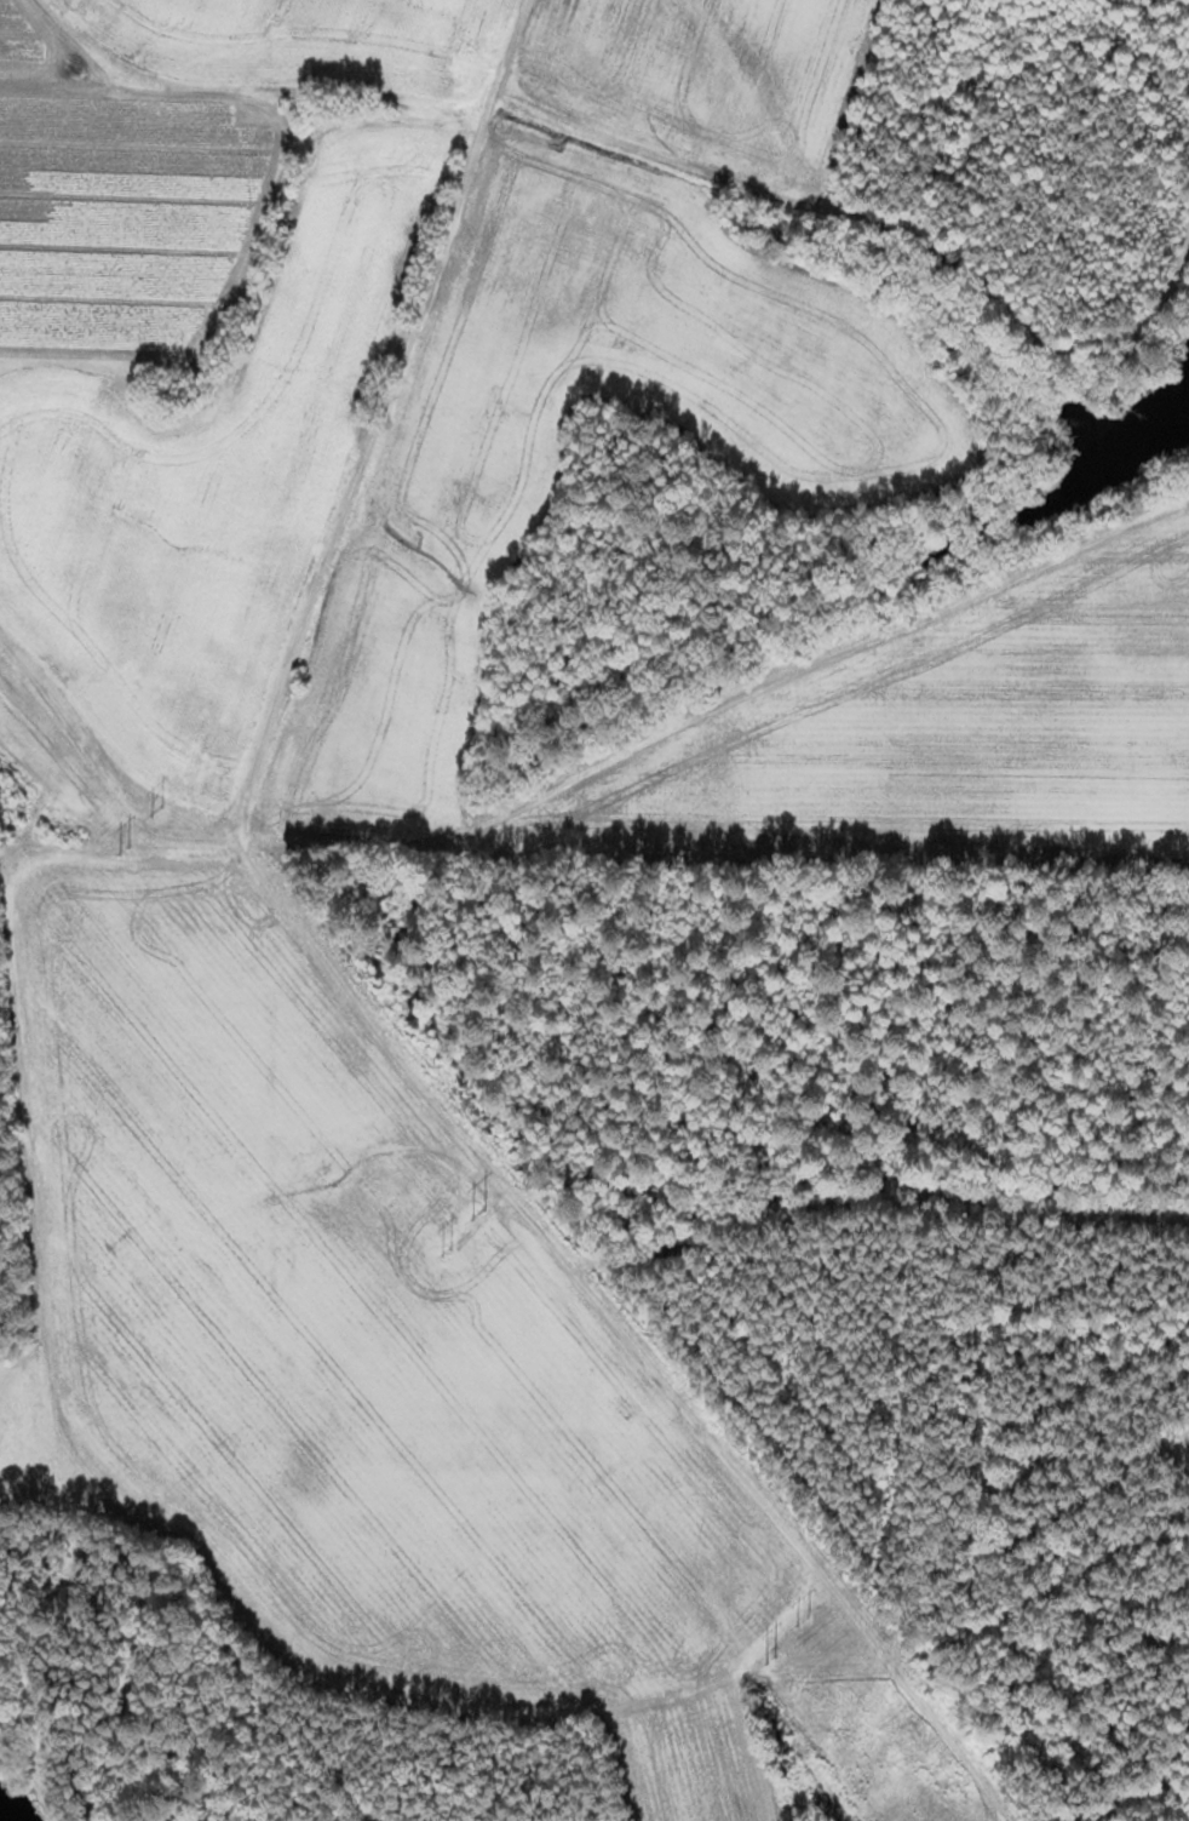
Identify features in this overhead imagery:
power tower: (157, 807)
power tower: (481, 1209)
power tower: (812, 1615)
road: (148, 1643)

